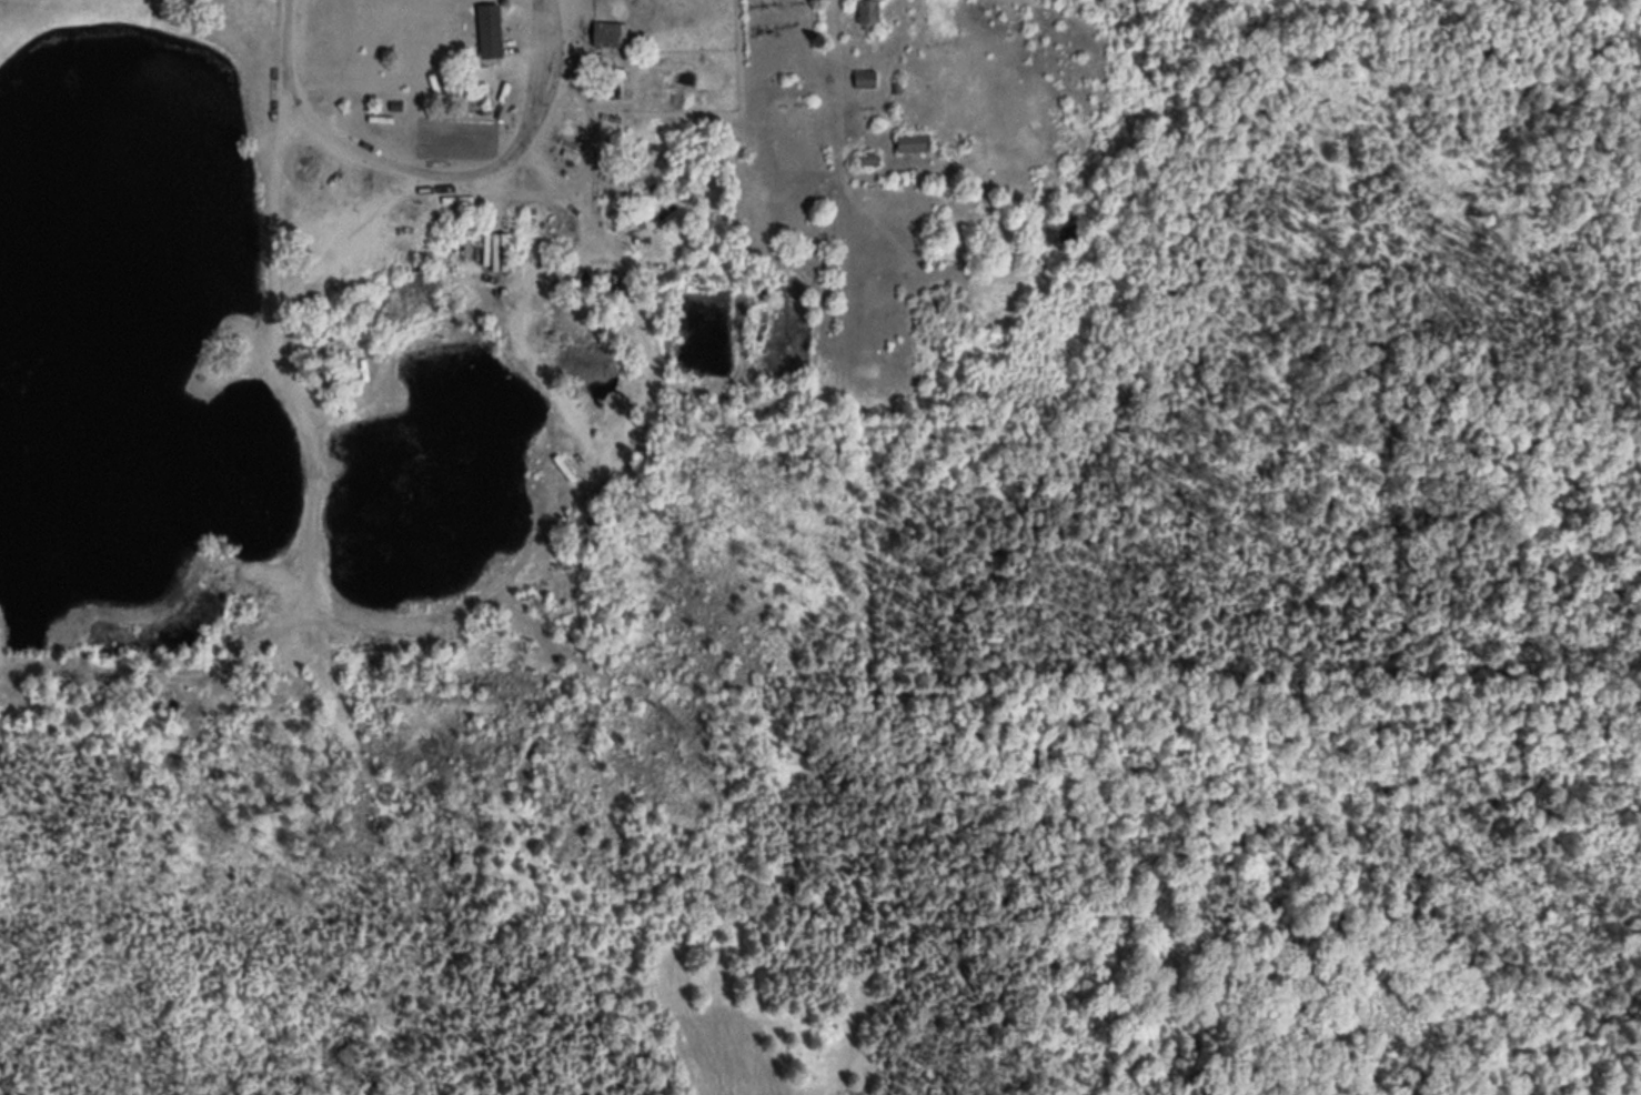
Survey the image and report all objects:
building: (864, 10)
building: (492, 29)
building: (608, 36)
building: (863, 77)
building: (907, 141)
building: (499, 251)
building: (572, 523)

